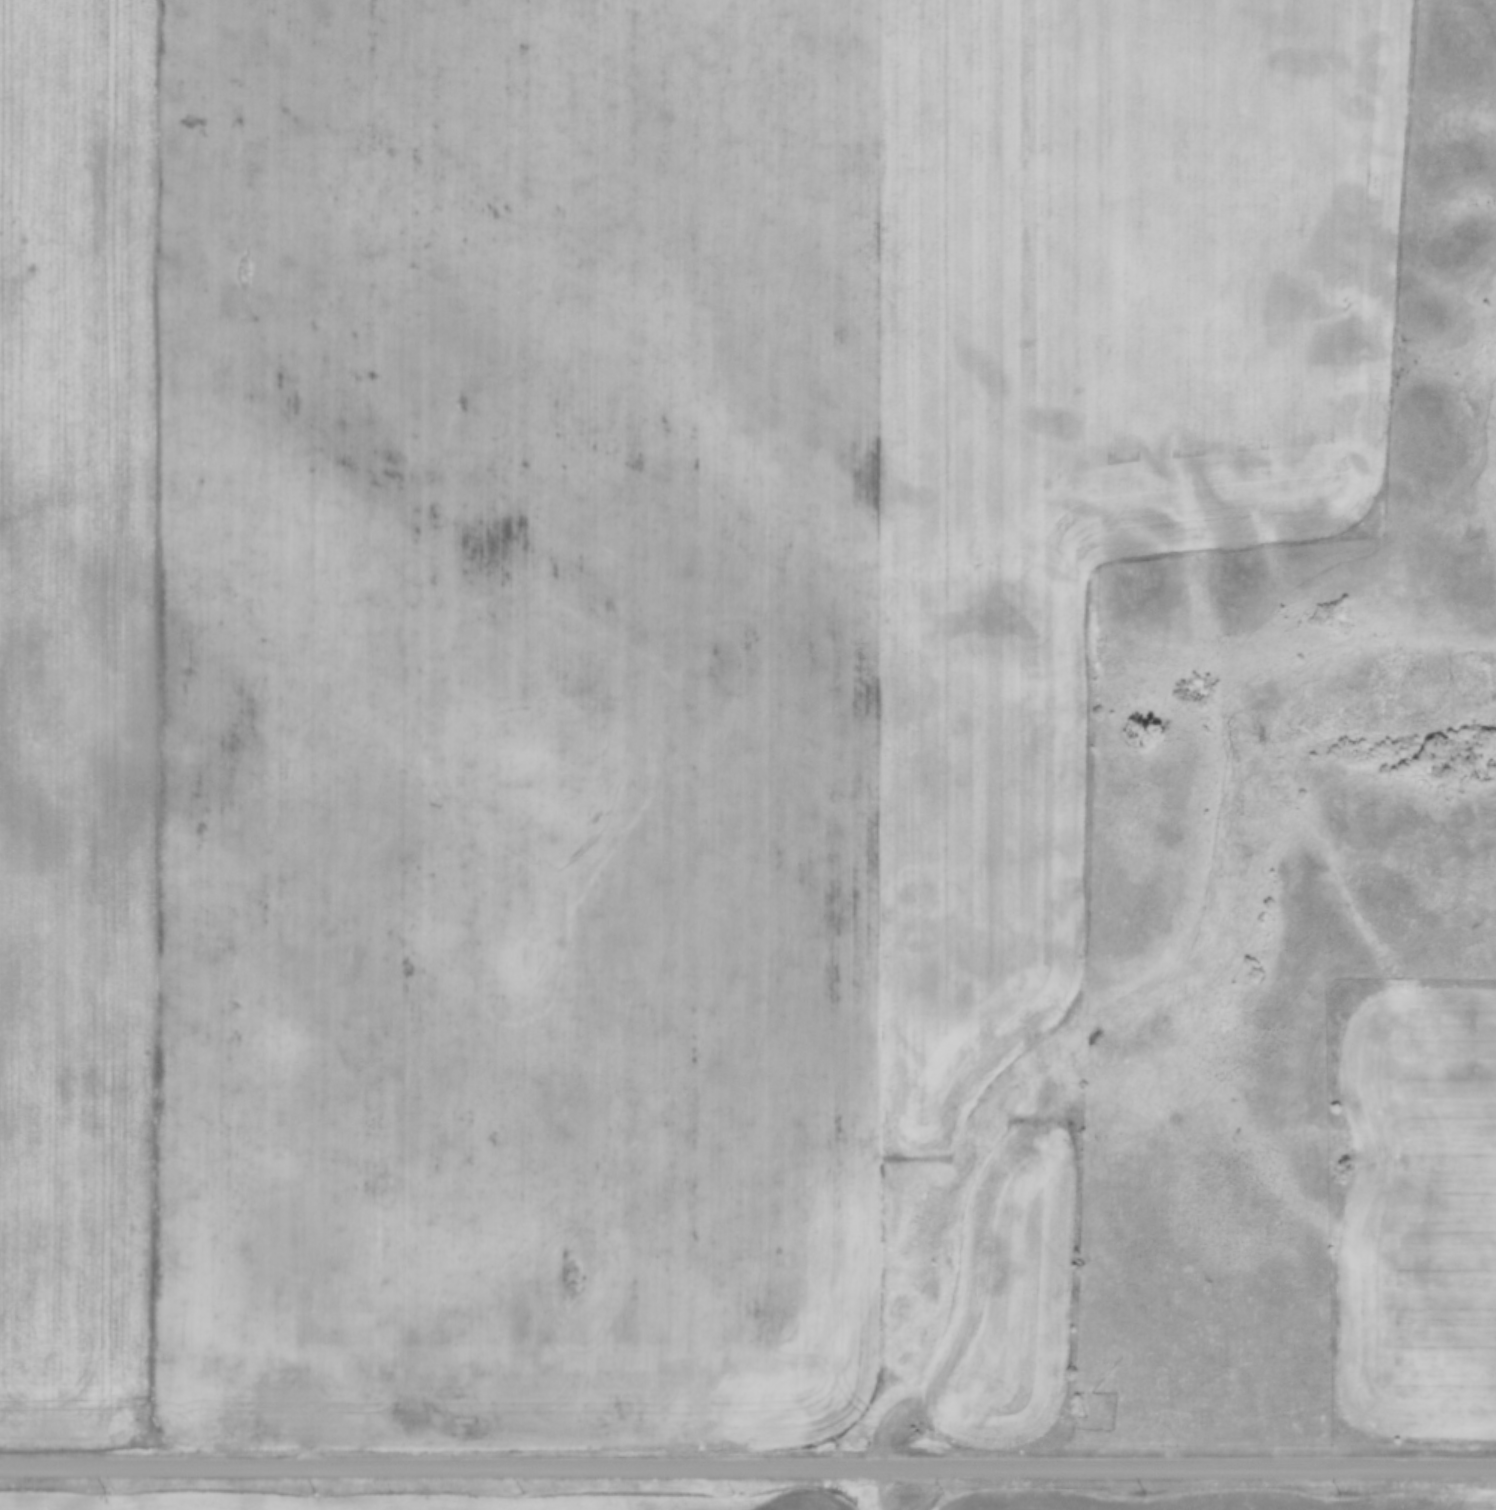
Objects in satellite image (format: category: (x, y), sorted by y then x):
road: (747, 1464)

